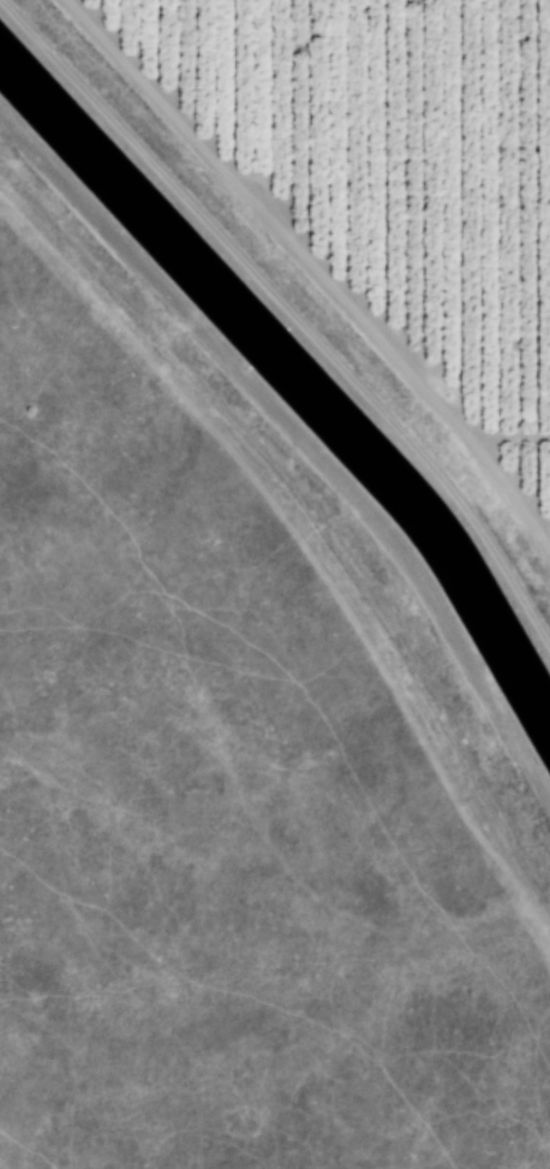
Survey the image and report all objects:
road: (315, 267)
road: (509, 437)

